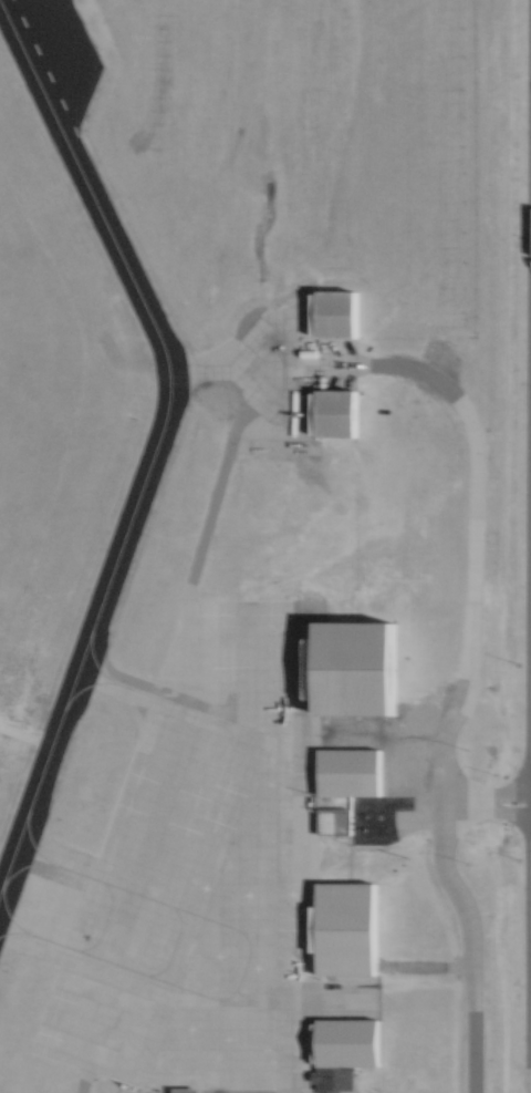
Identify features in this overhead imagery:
building: (334, 313)
airport taxiway: (174, 372)
airport apron: (260, 373)
building: (335, 412)
airport taxiway: (154, 437)
road: (206, 515)
road: (469, 526)
airport: (264, 546)
building: (353, 668)
airport taxiway: (119, 684)
airport taxiway: (134, 690)
building: (345, 772)
road: (445, 802)
building: (333, 821)
airport taxiway: (54, 863)
airport apron: (202, 868)
airport taxiway: (72, 870)
airport taxiway: (18, 922)
building: (343, 928)
airport taxiway: (49, 941)
road: (468, 945)
building: (346, 1041)
building: (334, 1079)
road: (79, 1080)
building: (186, 1090)

